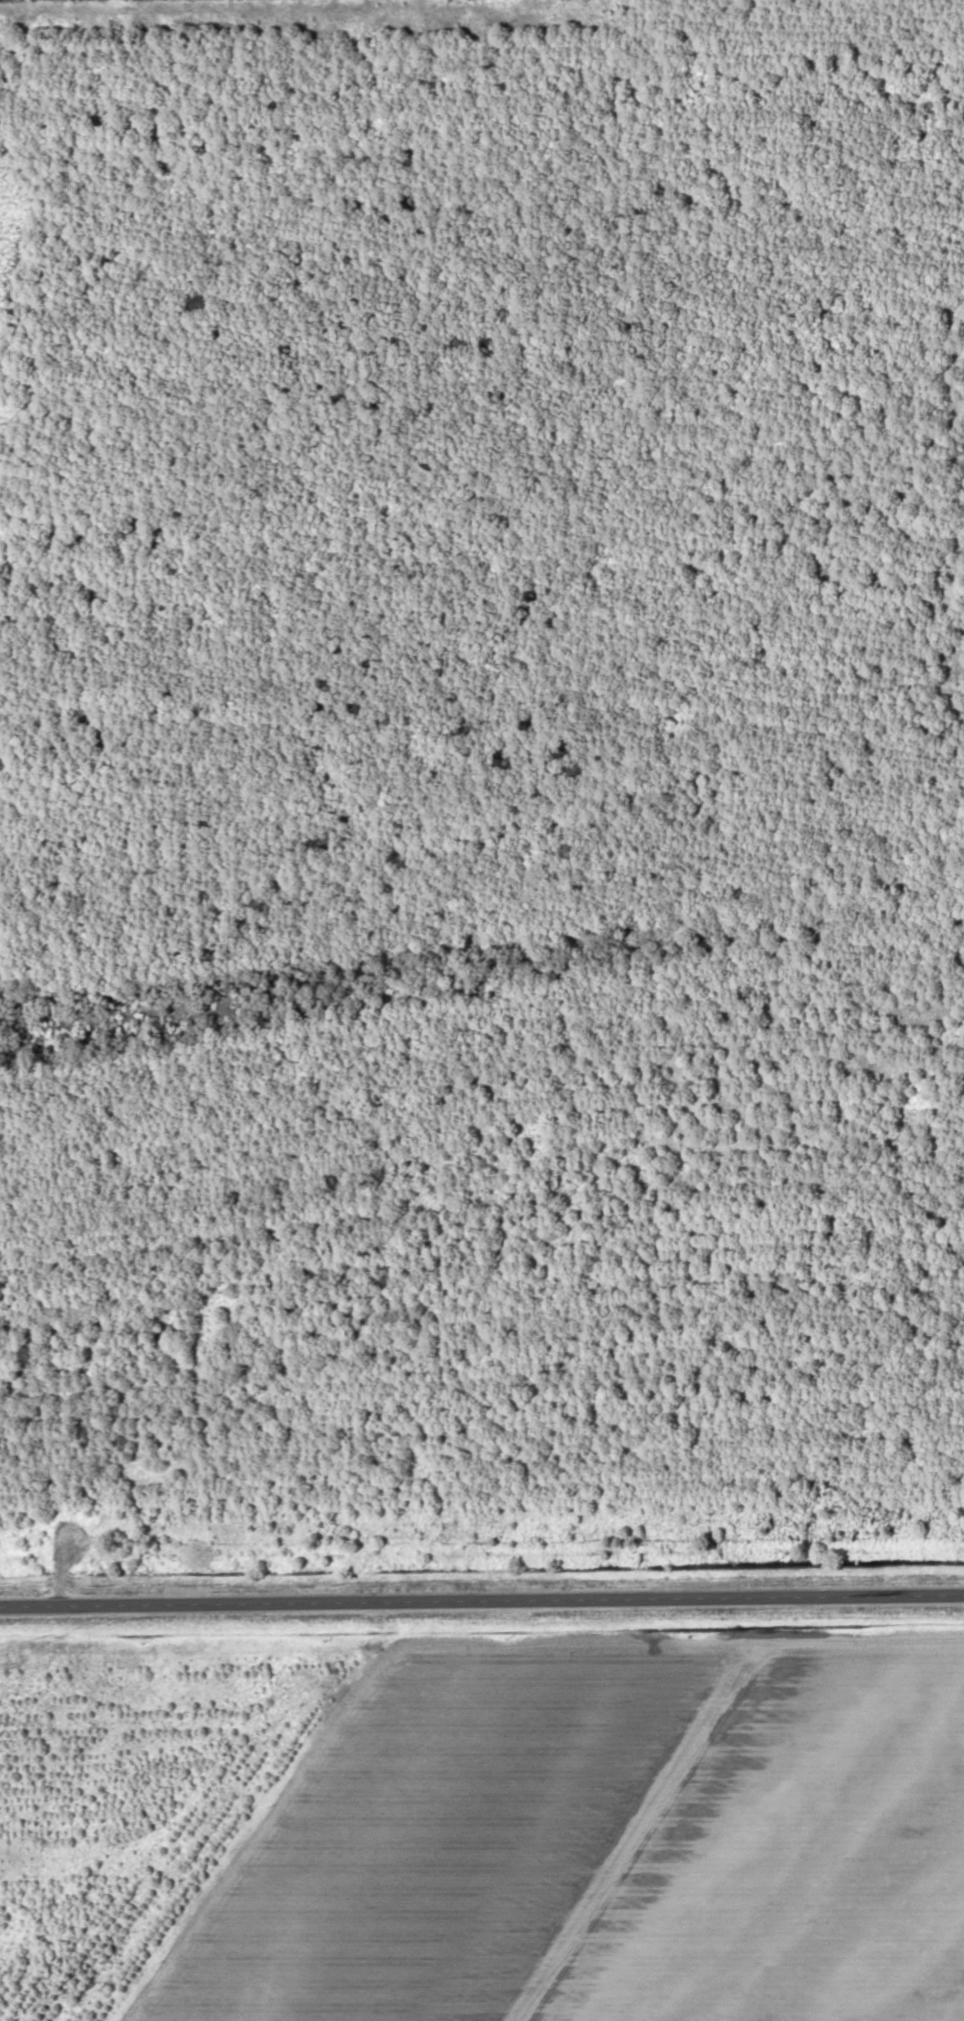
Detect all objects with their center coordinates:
road: (482, 1599)

